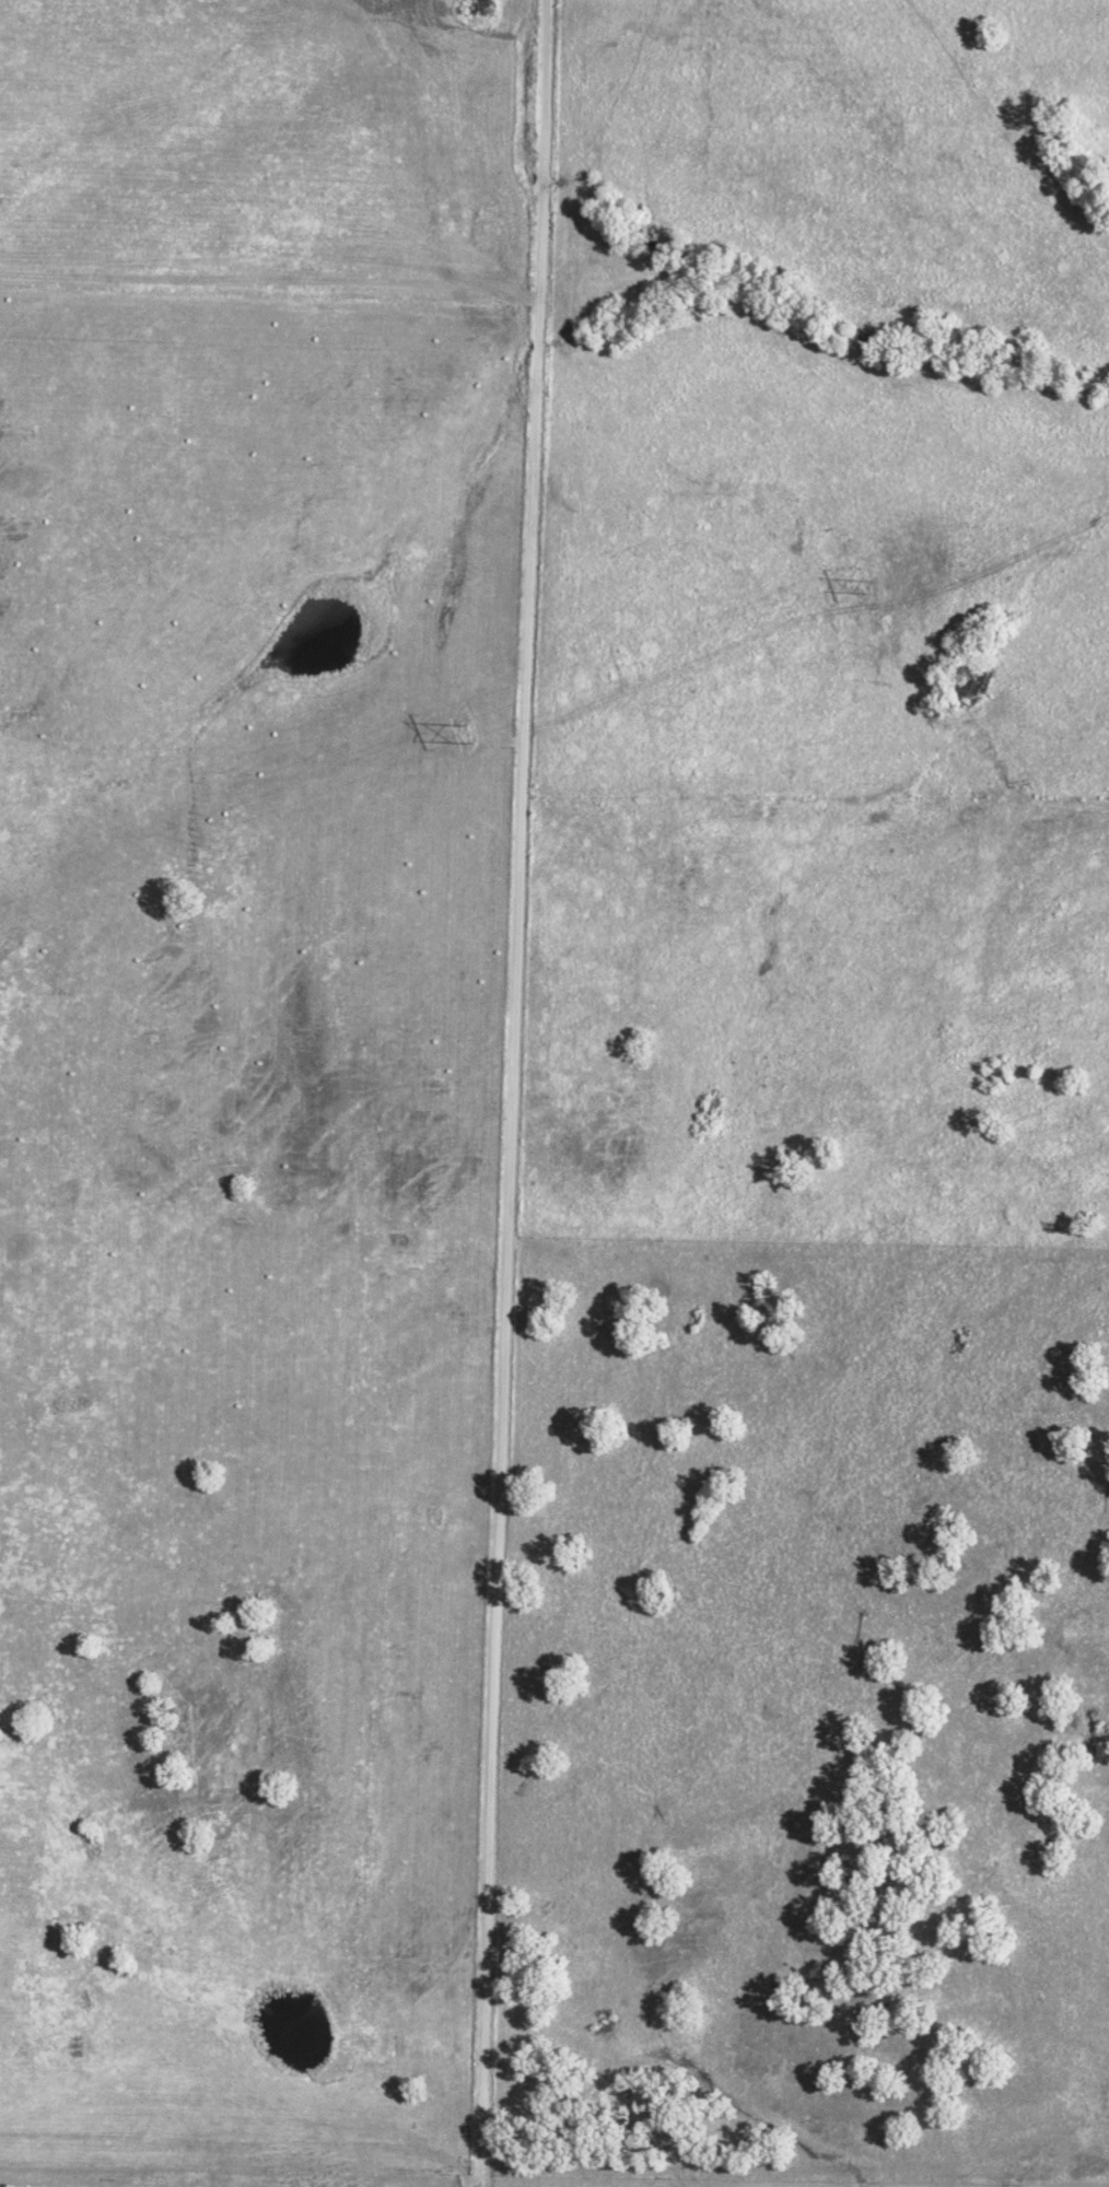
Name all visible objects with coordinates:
power tower: (874, 590)
power tower: (477, 732)
road: (507, 1092)

